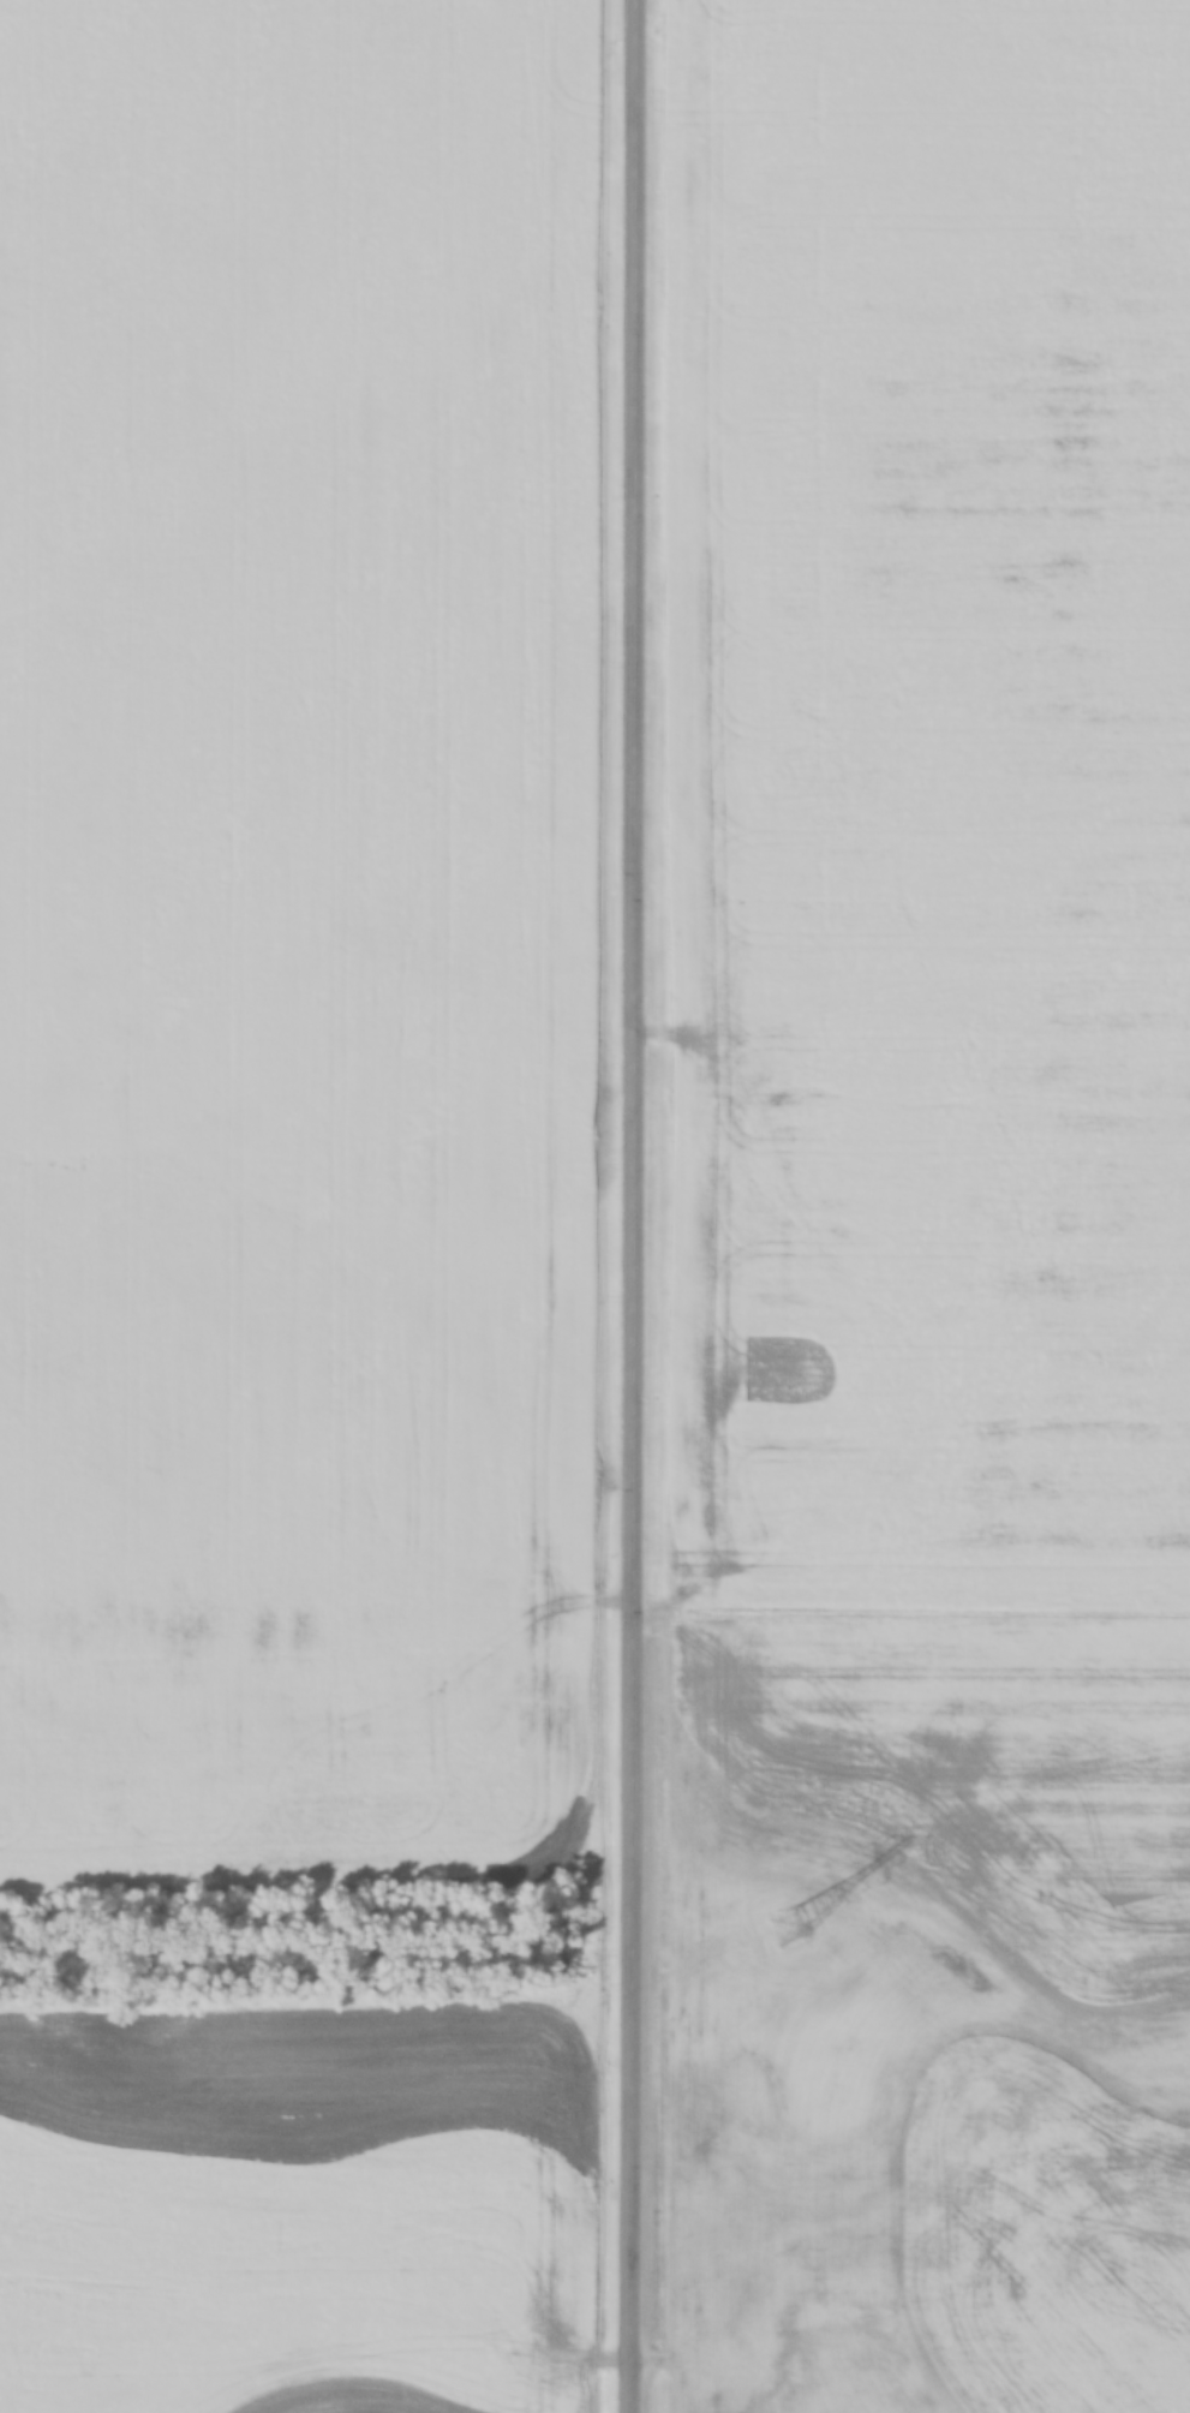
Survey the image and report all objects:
road: (634, 1206)
power tower: (787, 1928)

